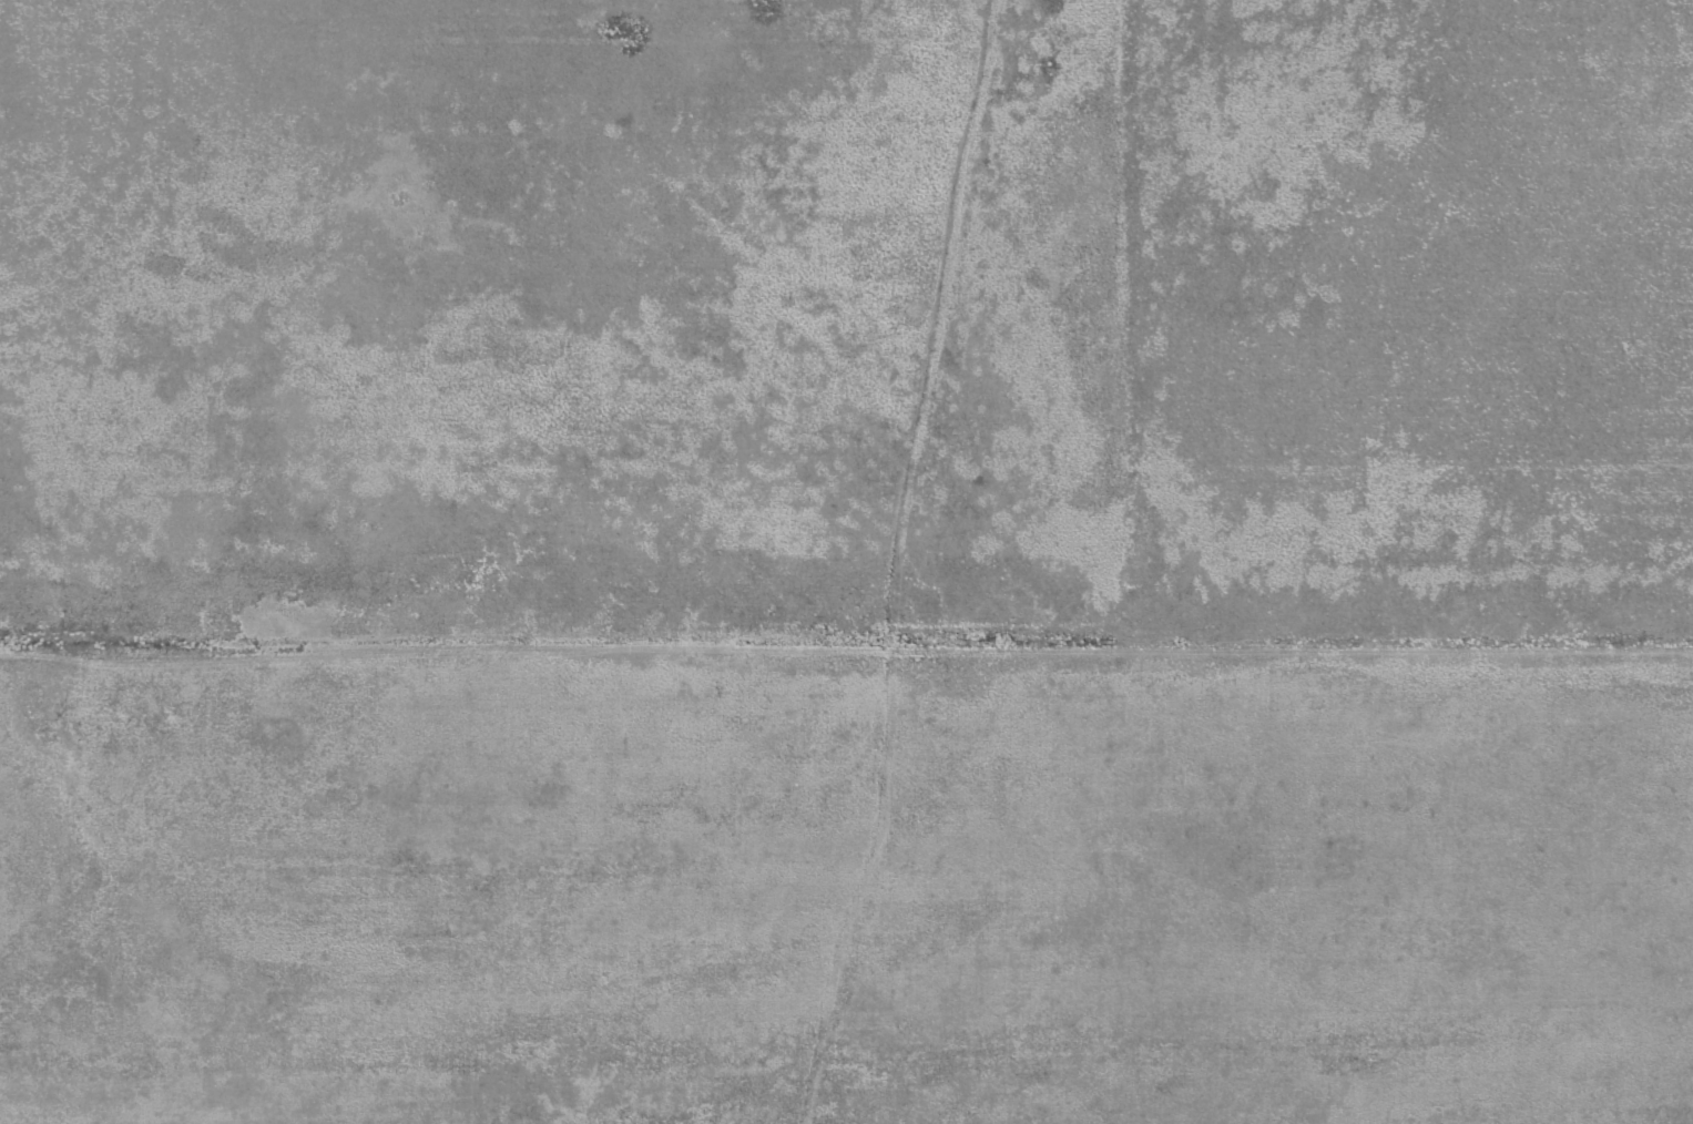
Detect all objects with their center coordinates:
road: (845, 665)

